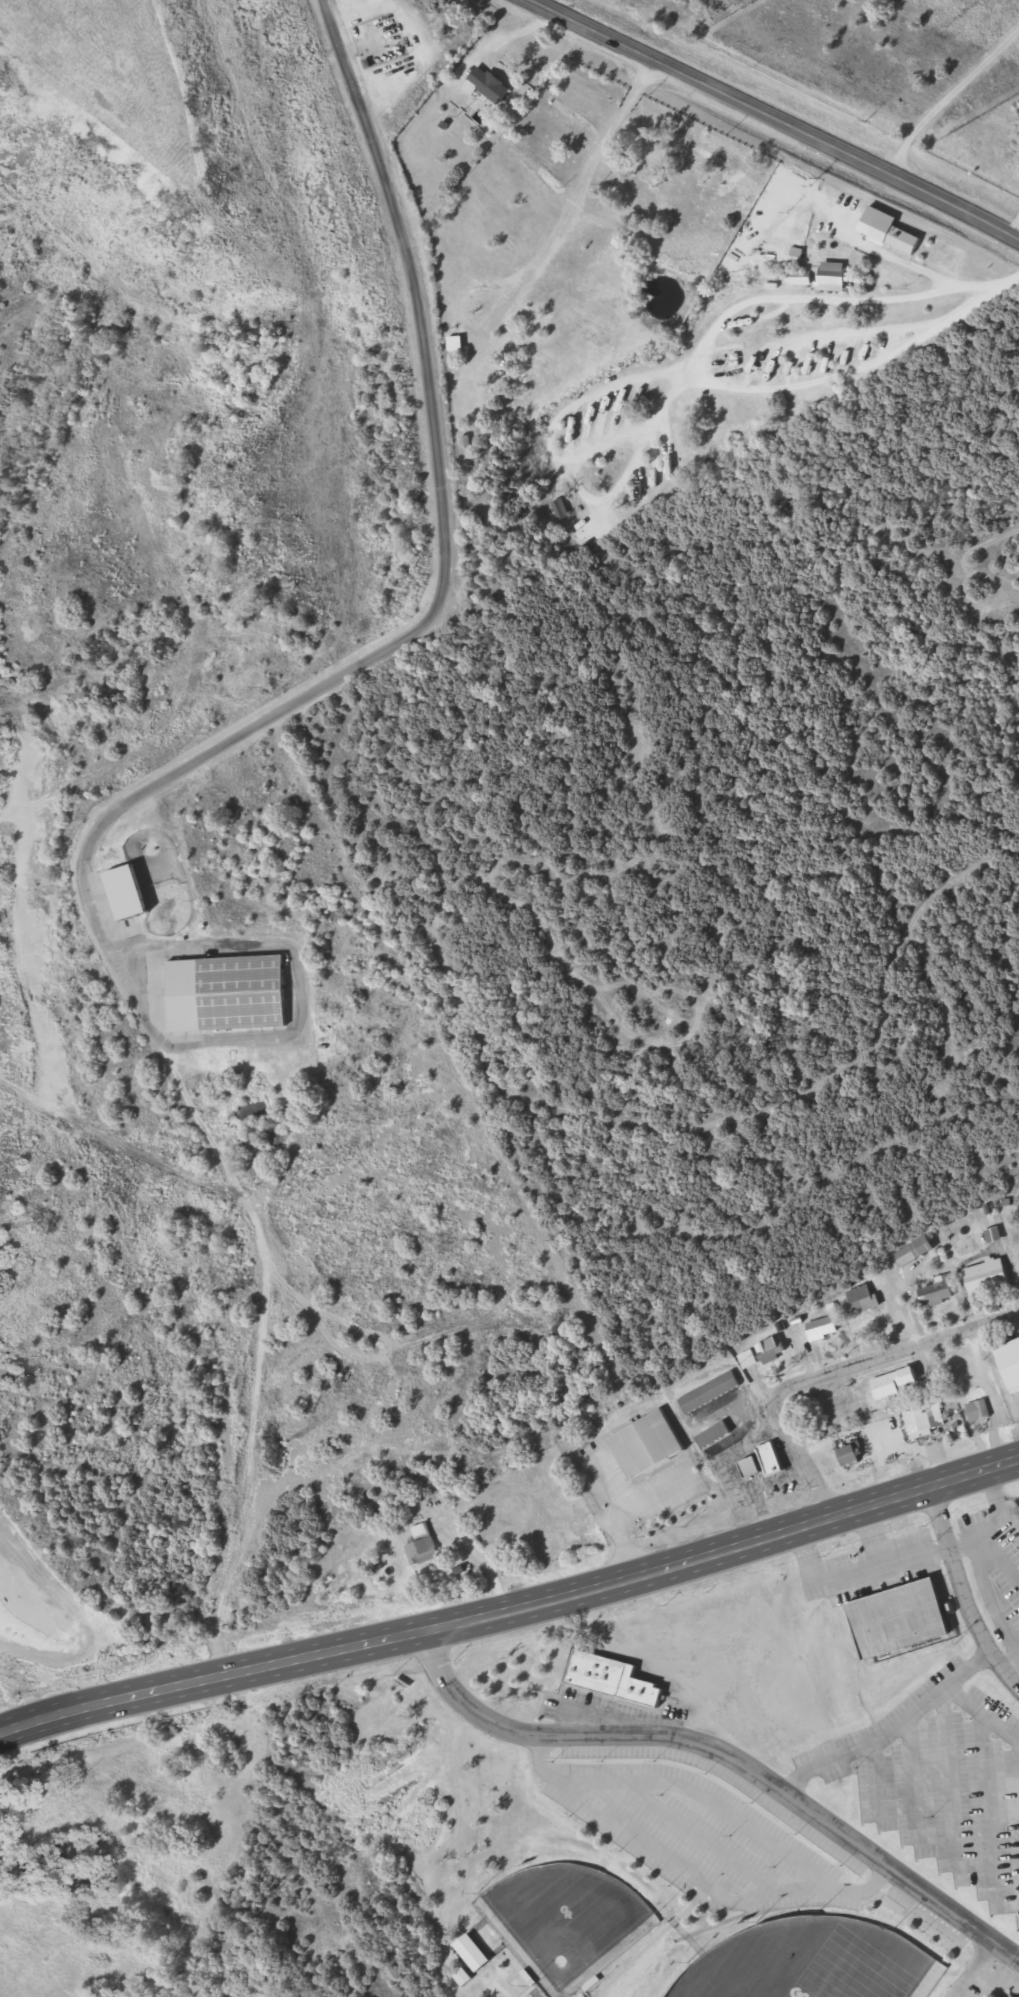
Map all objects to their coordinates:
building: (489, 84)
road: (948, 95)
road: (776, 118)
building: (908, 240)
building: (838, 277)
building: (803, 278)
road: (657, 280)
road: (929, 289)
building: (458, 344)
building: (563, 509)
road: (150, 789)
building: (244, 993)
building: (995, 1236)
building: (916, 1251)
building: (989, 1276)
building: (939, 1293)
building: (866, 1299)
building: (825, 1328)
building: (773, 1351)
building: (1010, 1364)
road: (831, 1372)
building: (897, 1383)
building: (711, 1394)
building: (980, 1412)
building: (926, 1421)
building: (716, 1436)
building: (649, 1445)
building: (853, 1456)
building: (766, 1463)
road: (923, 1489)
building: (424, 1546)
road: (962, 1592)
building: (902, 1620)
road: (416, 1634)
building: (613, 1679)
road: (980, 1707)
road: (885, 1722)
road: (725, 1756)
road: (1017, 1764)
road: (909, 1786)
road: (873, 1789)
road: (944, 1789)
road: (984, 1794)
building: (283, 1893)
park: (566, 1922)
park: (813, 1962)
road: (974, 1970)

